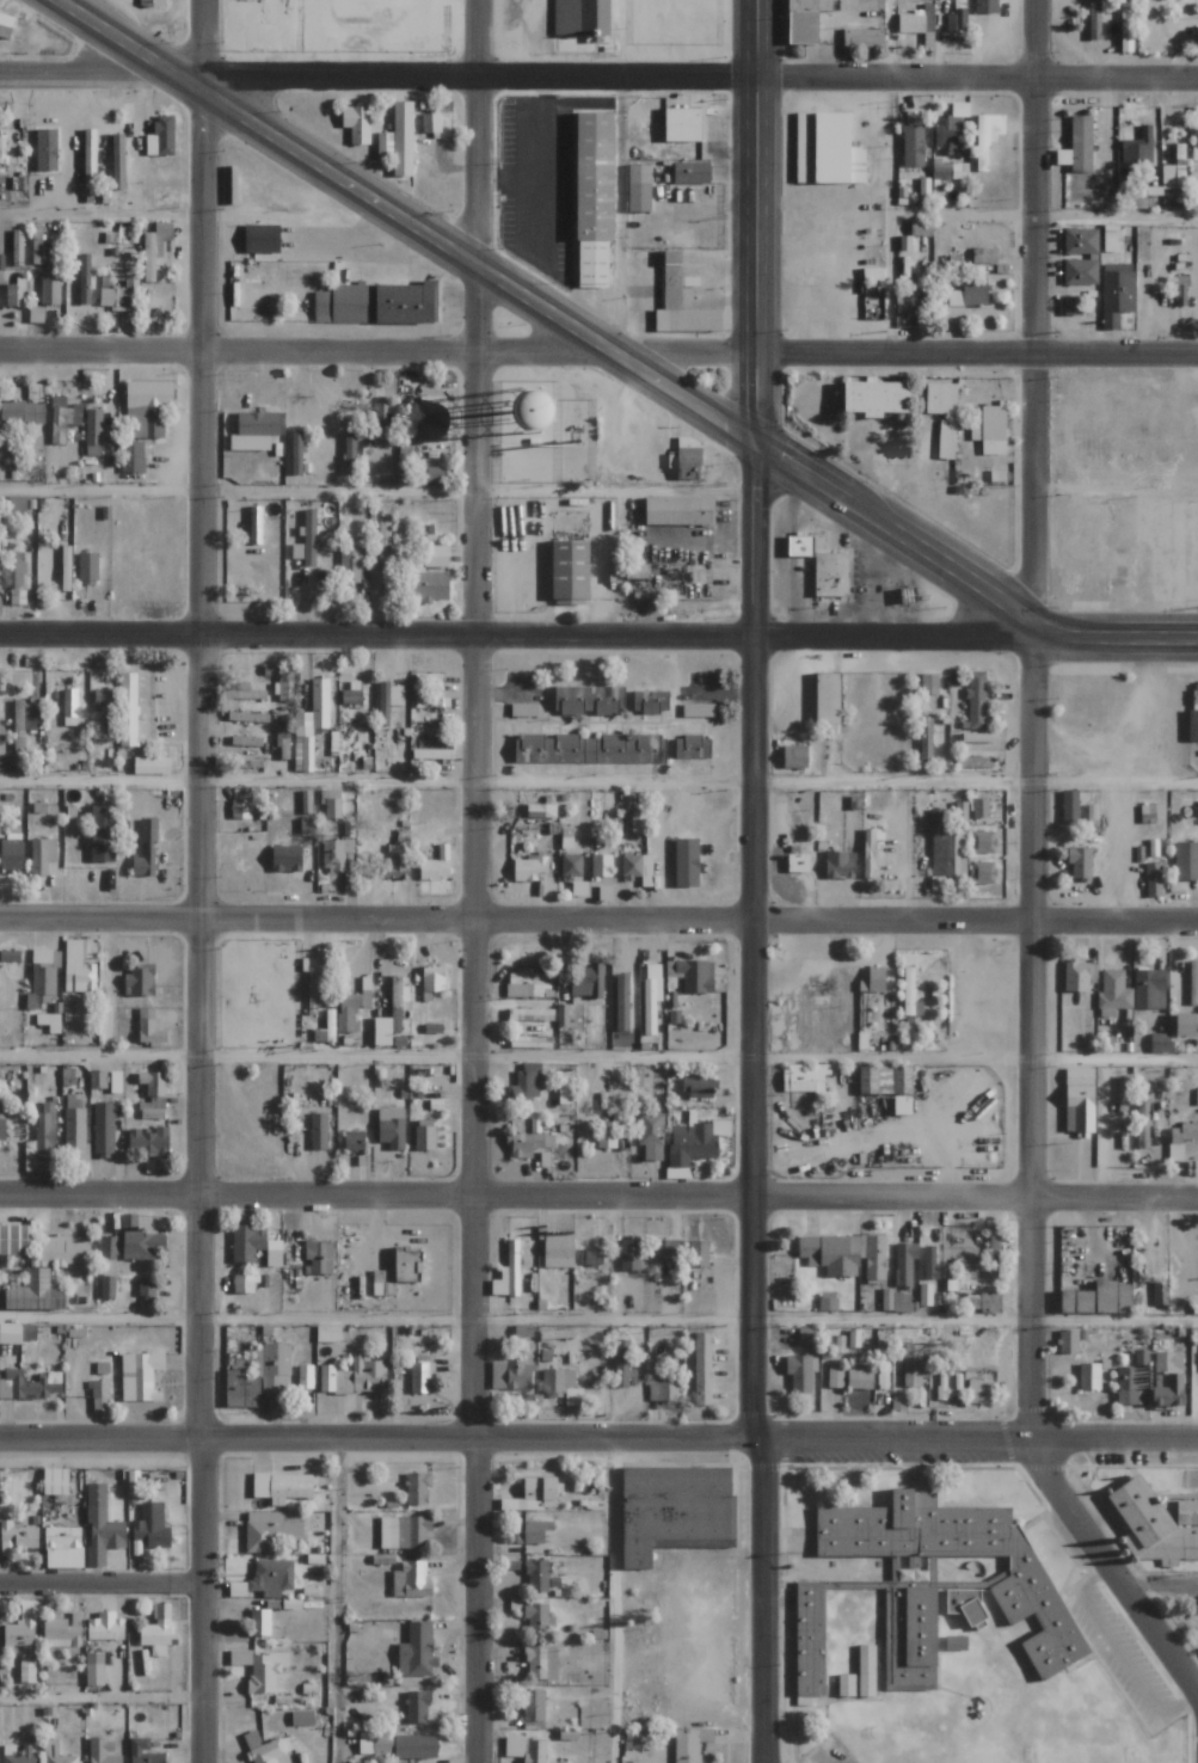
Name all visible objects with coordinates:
building: (150, 4)
building: (811, 4)
building: (984, 6)
building: (582, 18)
building: (915, 21)
building: (954, 21)
building: (6, 26)
building: (804, 26)
road: (886, 38)
building: (1125, 38)
building: (862, 39)
road: (79, 72)
road: (478, 75)
road: (976, 78)
building: (356, 124)
building: (430, 124)
building: (683, 124)
building: (946, 135)
building: (160, 137)
building: (985, 137)
building: (910, 139)
building: (403, 140)
building: (1081, 143)
building: (1194, 146)
building: (2, 147)
building: (385, 147)
building: (1138, 148)
building: (44, 149)
building: (825, 149)
building: (90, 156)
building: (117, 162)
building: (947, 171)
building: (692, 173)
building: (1135, 174)
building: (1172, 177)
building: (639, 189)
building: (922, 190)
building: (592, 192)
building: (1131, 198)
road: (100, 213)
road: (1043, 215)
road: (889, 216)
road: (406, 221)
building: (920, 228)
building: (1107, 233)
building: (123, 236)
building: (262, 240)
building: (1079, 241)
building: (16, 248)
building: (154, 248)
building: (39, 250)
building: (983, 256)
building: (1, 263)
building: (1079, 272)
building: (871, 276)
building: (84, 281)
building: (1180, 288)
building: (1116, 291)
building: (49, 293)
building: (12, 295)
building: (118, 296)
building: (966, 297)
building: (904, 301)
building: (681, 303)
building: (344, 305)
building: (406, 305)
building: (1071, 306)
building: (35, 314)
building: (1108, 321)
road: (377, 354)
road: (977, 356)
building: (878, 398)
building: (940, 399)
building: (147, 407)
building: (557, 410)
building: (21, 412)
building: (431, 414)
water tower: (532, 416)
building: (381, 419)
building: (62, 422)
building: (257, 424)
building: (92, 426)
building: (990, 430)
building: (858, 435)
building: (945, 440)
building: (91, 450)
building: (295, 453)
building: (349, 453)
building: (403, 455)
building: (131, 456)
building: (687, 459)
building: (435, 474)
building: (999, 475)
road: (377, 491)
building: (16, 505)
building: (680, 511)
building: (254, 526)
building: (307, 540)
road: (893, 540)
building: (800, 546)
building: (385, 551)
building: (436, 555)
building: (87, 566)
building: (350, 566)
building: (637, 571)
building: (14, 572)
building: (571, 572)
building: (830, 575)
building: (66, 577)
building: (428, 586)
building: (909, 595)
road: (892, 635)
road: (1114, 635)
road: (377, 637)
building: (17, 681)
building: (928, 682)
building: (242, 693)
building: (0, 696)
building: (350, 696)
building: (828, 699)
building: (975, 699)
building: (103, 700)
building: (589, 700)
building: (388, 701)
building: (651, 701)
building: (431, 702)
building: (70, 707)
building: (128, 709)
building: (698, 709)
building: (256, 718)
road: (201, 719)
road: (754, 719)
building: (24, 720)
road: (1032, 720)
building: (109, 721)
building: (311, 725)
building: (924, 726)
building: (1193, 726)
building: (979, 738)
building: (240, 741)
building: (693, 748)
building: (588, 749)
building: (795, 756)
building: (973, 762)
building: (244, 763)
building: (152, 766)
road: (376, 781)
road: (976, 782)
building: (1069, 806)
building: (240, 809)
building: (333, 809)
building: (981, 809)
building: (994, 810)
building: (540, 811)
building: (959, 812)
building: (1147, 813)
building: (935, 819)
building: (638, 823)
building: (148, 831)
building: (102, 834)
building: (983, 842)
building: (870, 852)
building: (948, 854)
building: (41, 855)
building: (12, 856)
building: (287, 859)
building: (1185, 861)
building: (686, 862)
building: (143, 864)
building: (798, 864)
building: (1080, 864)
building: (397, 865)
building: (436, 865)
building: (571, 866)
building: (601, 866)
building: (838, 866)
building: (529, 868)
building: (638, 868)
building: (982, 873)
building: (1153, 879)
road: (478, 880)
road: (376, 919)
road: (976, 920)
building: (10, 956)
building: (1192, 975)
building: (695, 976)
building: (1079, 976)
building: (41, 978)
building: (79, 979)
building: (139, 981)
building: (431, 982)
building: (588, 982)
building: (526, 983)
building: (1149, 989)
building: (908, 991)
building: (1112, 994)
building: (651, 996)
building: (621, 1002)
building: (348, 1014)
building: (391, 1014)
building: (49, 1022)
building: (1186, 1025)
building: (149, 1028)
building: (432, 1028)
building: (1157, 1044)
road: (598, 1057)
building: (635, 1076)
building: (804, 1079)
building: (879, 1079)
building: (97, 1080)
building: (152, 1083)
building: (523, 1087)
building: (696, 1087)
building: (1120, 1094)
building: (1080, 1101)
building: (903, 1106)
building: (149, 1112)
building: (1139, 1123)
building: (535, 1124)
building: (73, 1129)
building: (103, 1129)
building: (391, 1129)
building: (2, 1130)
building: (318, 1131)
building: (424, 1135)
building: (650, 1135)
building: (1180, 1139)
building: (39, 1141)
building: (148, 1141)
building: (354, 1141)
building: (695, 1142)
building: (529, 1144)
road: (376, 1198)
road: (975, 1199)
building: (14, 1240)
building: (140, 1242)
building: (247, 1243)
building: (107, 1247)
building: (994, 1248)
building: (668, 1249)
building: (64, 1251)
building: (558, 1251)
building: (698, 1253)
building: (629, 1255)
building: (846, 1255)
building: (594, 1257)
building: (318, 1258)
building: (274, 1259)
building: (406, 1263)
building: (903, 1263)
building: (928, 1263)
building: (509, 1273)
building: (958, 1276)
building: (242, 1284)
building: (106, 1288)
building: (382, 1289)
building: (146, 1292)
building: (1159, 1292)
building: (36, 1294)
building: (926, 1296)
building: (1099, 1298)
building: (828, 1302)
building: (893, 1302)
road: (837, 1319)
road: (239, 1320)
building: (523, 1332)
building: (10, 1333)
building: (327, 1334)
building: (555, 1334)
building: (819, 1341)
building: (1067, 1341)
building: (276, 1360)
building: (622, 1365)
building: (913, 1366)
building: (701, 1369)
building: (798, 1374)
building: (510, 1375)
building: (362, 1376)
building: (140, 1377)
building: (305, 1377)
building: (422, 1377)
building: (860, 1377)
building: (1088, 1377)
building: (326, 1378)
building: (834, 1378)
building: (1168, 1380)
building: (1132, 1382)
building: (245, 1384)
building: (32, 1386)
building: (563, 1386)
building: (663, 1392)
building: (978, 1392)
building: (99, 1396)
building: (898, 1401)
road: (976, 1439)
road: (377, 1440)
building: (56, 1483)
building: (281, 1487)
building: (417, 1488)
building: (540, 1493)
building: (96, 1494)
building: (674, 1509)
building: (1187, 1512)
building: (150, 1526)
building: (1153, 1526)
building: (271, 1529)
building: (404, 1532)
building: (533, 1532)
building: (103, 1535)
building: (17, 1537)
building: (63, 1548)
building: (596, 1565)
road: (1108, 1569)
building: (536, 1575)
building: (271, 1578)
building: (410, 1579)
building: (1022, 1580)
road: (99, 1584)
road: (1159, 1584)
building: (897, 1597)
road: (199, 1601)
road: (616, 1601)
road: (757, 1601)
road: (334, 1602)
building: (515, 1605)
building: (967, 1605)
building: (537, 1620)
building: (259, 1622)
building: (105, 1627)
building: (21, 1628)
building: (1197, 1630)
building: (60, 1634)
building: (155, 1636)
building: (805, 1641)
building: (917, 1641)
building: (416, 1651)
road: (1118, 1653)
parking lot: (1119, 1653)
building: (540, 1663)
building: (93, 1669)
building: (259, 1669)
building: (866, 1671)
building: (26, 1672)
building: (846, 1685)
road: (99, 1697)
building: (417, 1708)
building: (533, 1709)
building: (301, 1719)
building: (569, 1734)
building: (689, 1744)
building: (375, 1745)
building: (416, 1746)
building: (266, 1749)
building: (526, 1749)
building: (8, 1750)
building: (102, 1751)
building: (142, 1752)
building: (53, 1753)
parking lot: (828, 1756)
road: (817, 1758)

